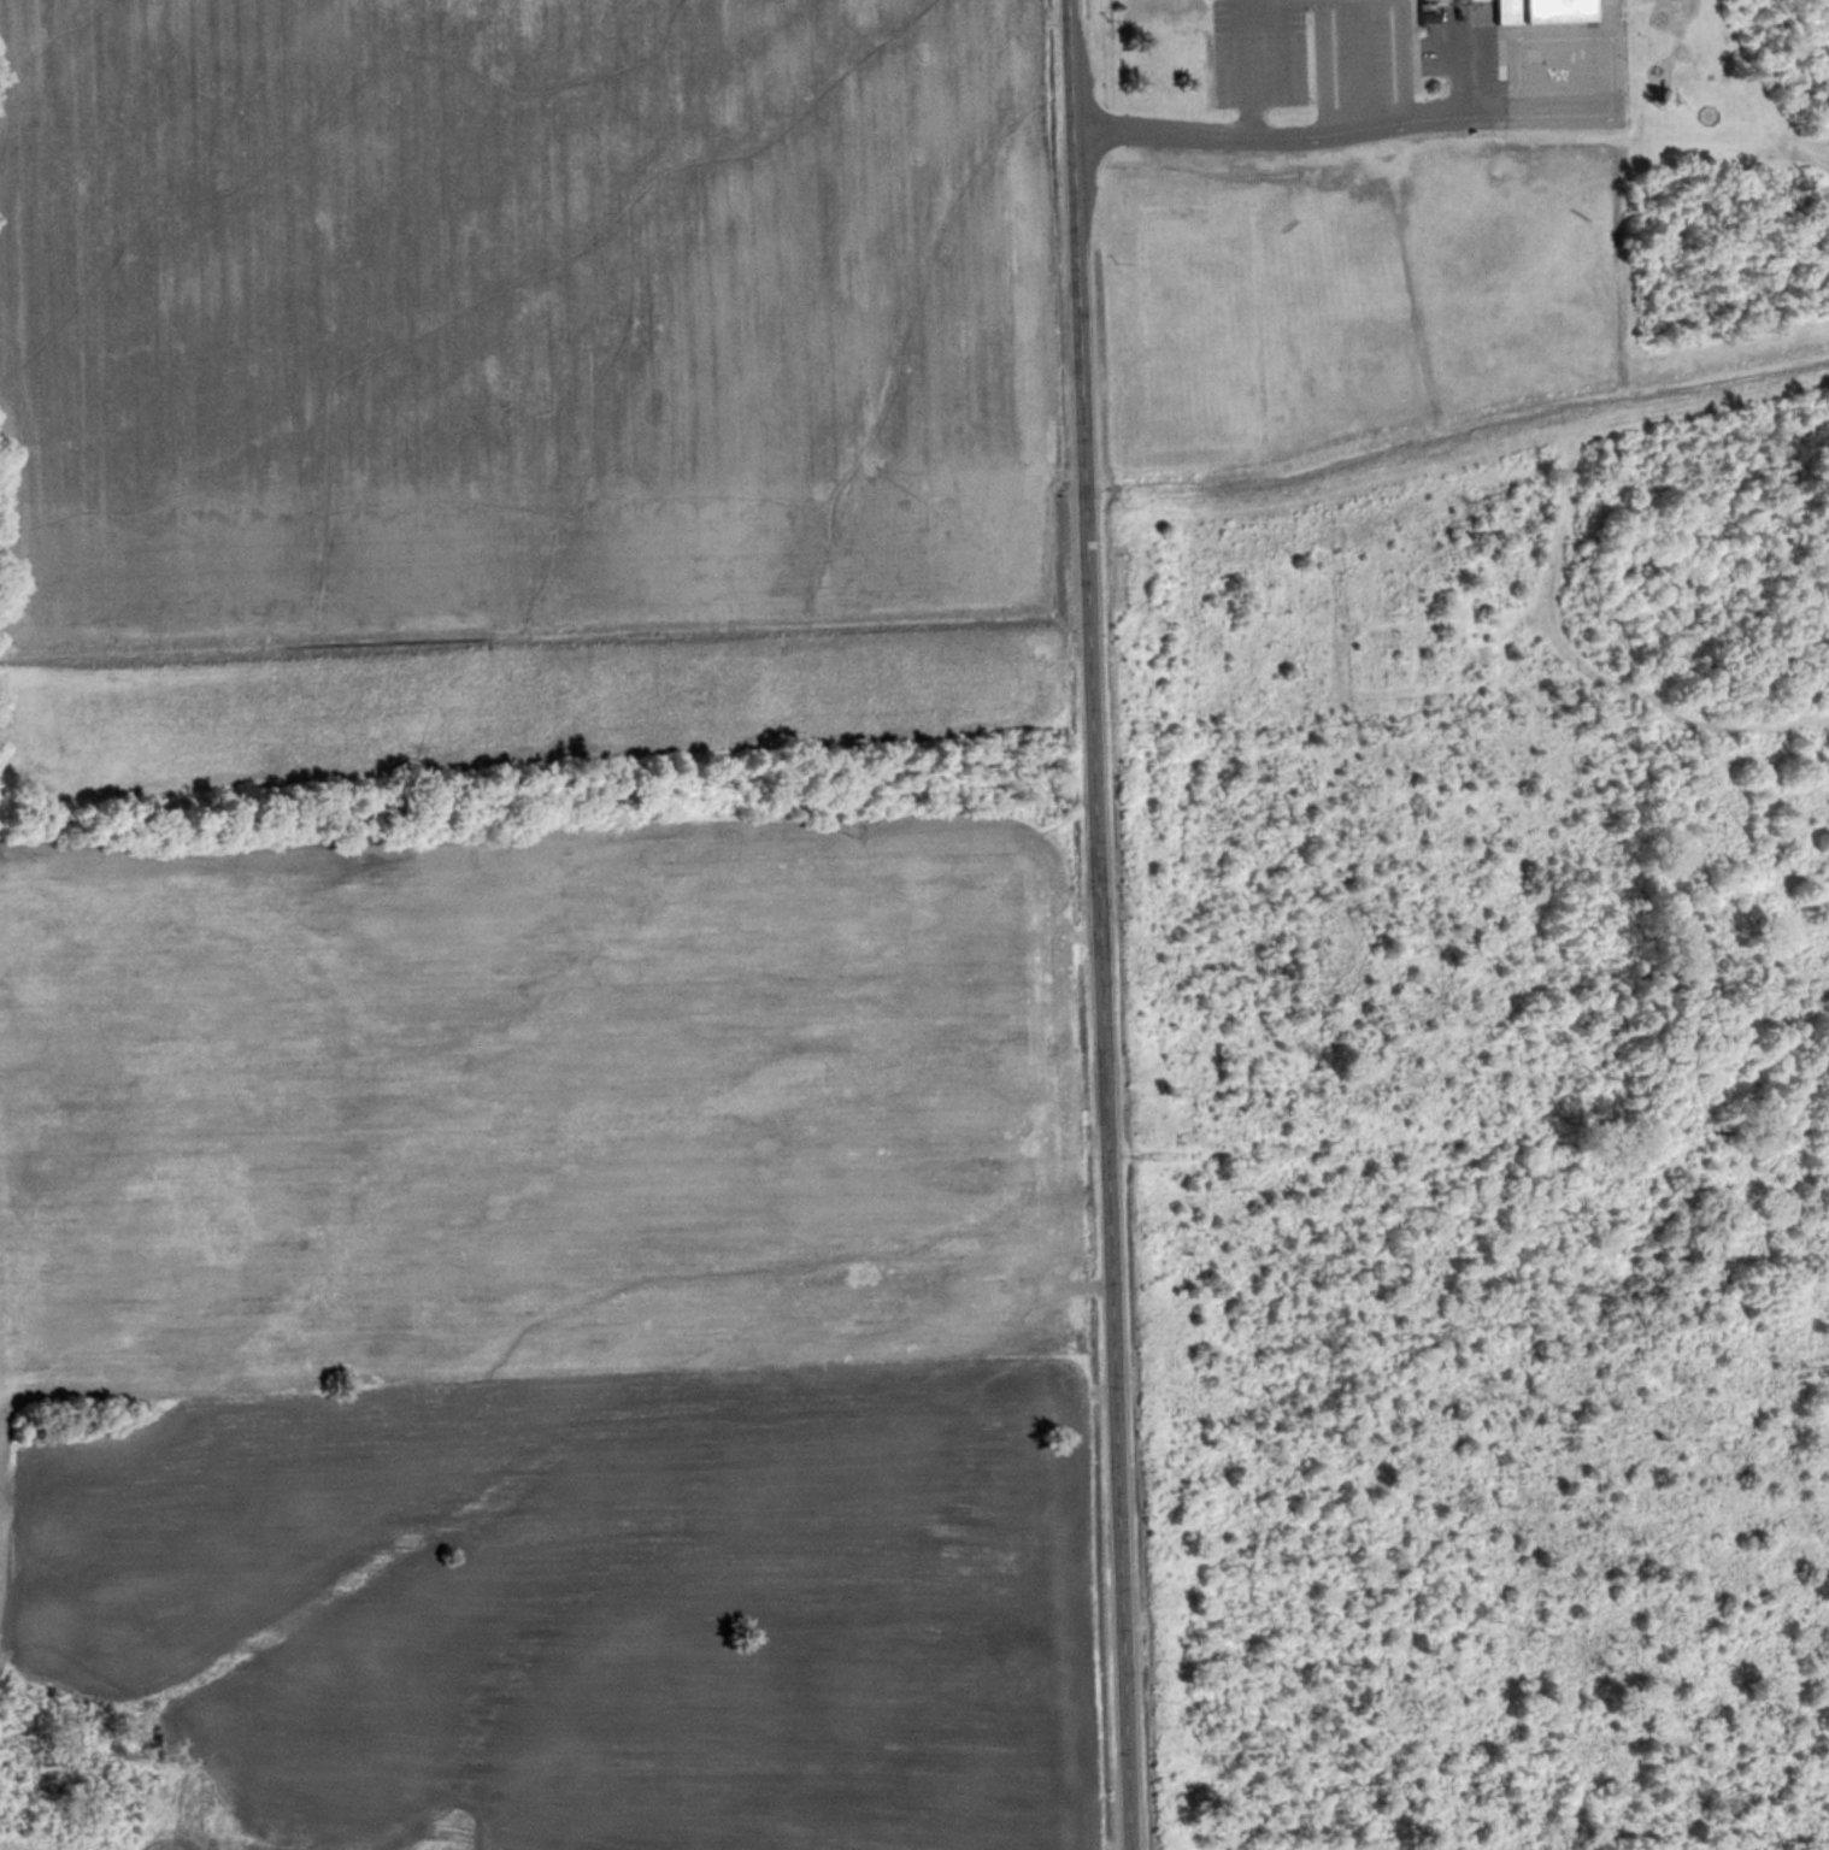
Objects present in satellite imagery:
building: (1530, 8)
road: (1335, 125)
road: (1099, 924)

